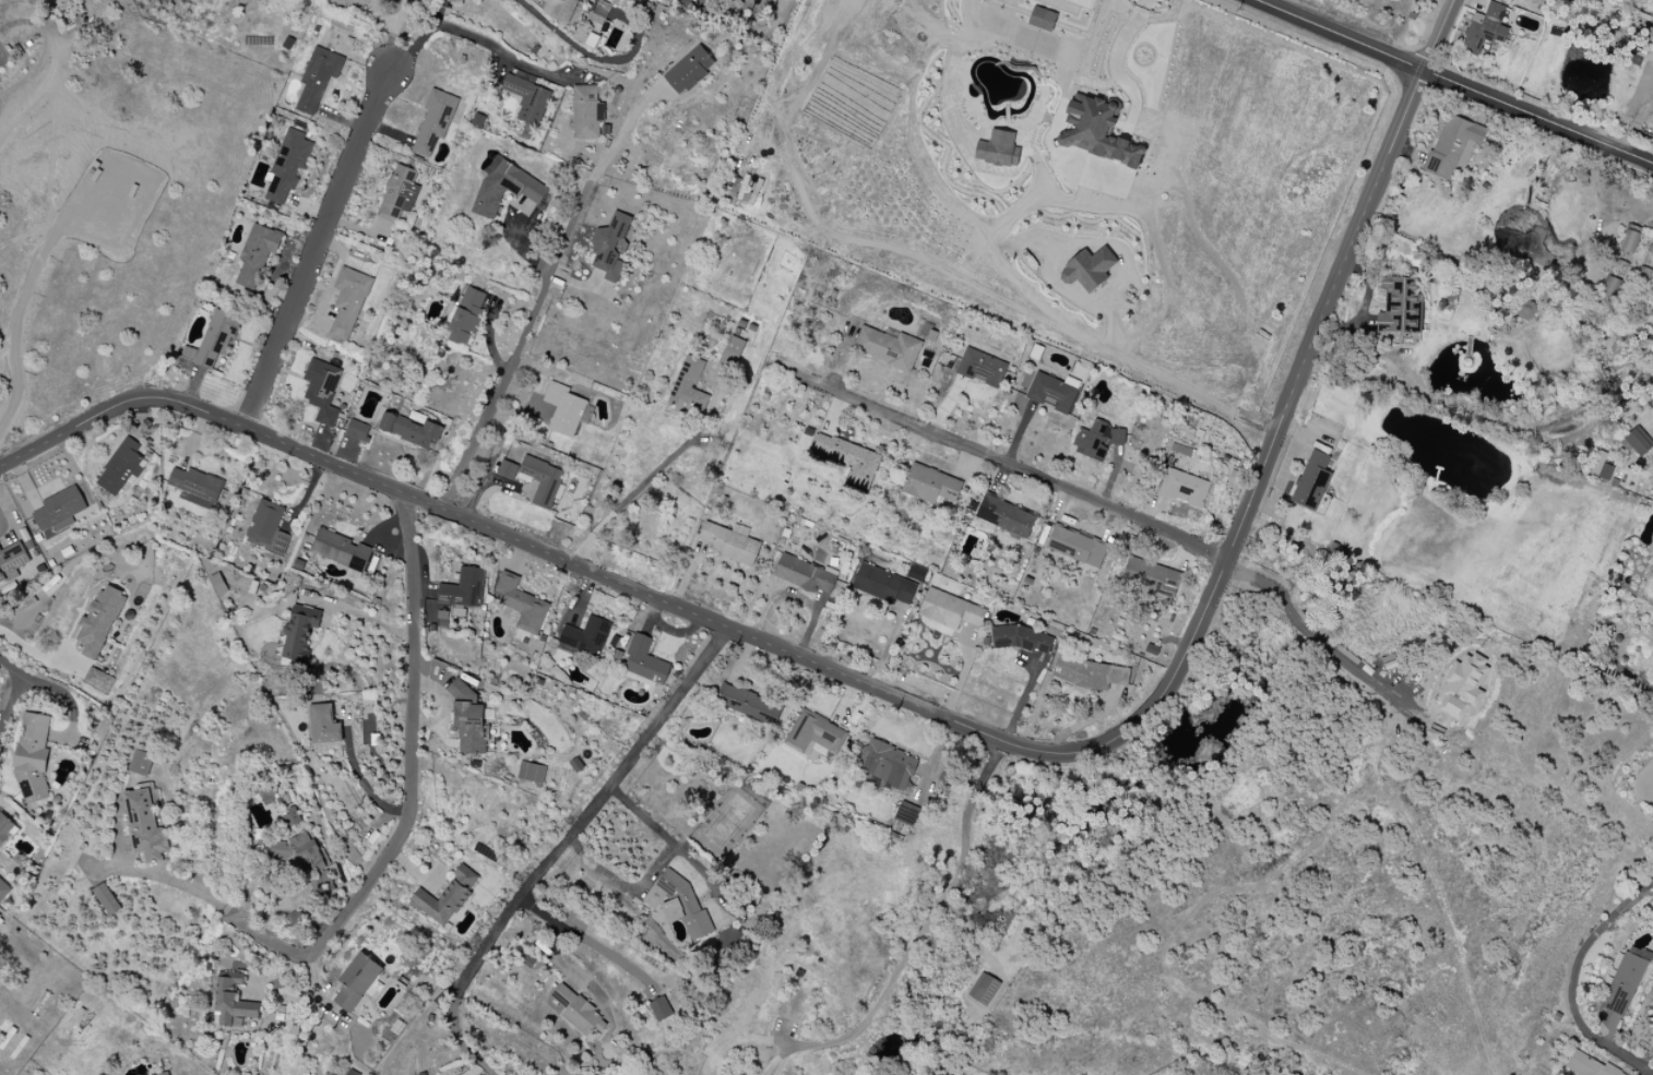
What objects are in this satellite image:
building: (532, 0)
building: (668, 0)
building: (560, 10)
building: (598, 16)
building: (1042, 19)
building: (1485, 31)
road: (746, 32)
building: (585, 37)
road: (421, 38)
road: (499, 52)
building: (689, 70)
road: (1119, 71)
building: (318, 79)
road: (1453, 81)
building: (527, 99)
building: (586, 111)
building: (435, 121)
building: (1099, 130)
road: (618, 138)
building: (1451, 147)
building: (998, 150)
building: (287, 165)
building: (506, 188)
building: (397, 194)
building: (1630, 238)
road: (316, 249)
building: (255, 253)
building: (1093, 270)
building: (348, 301)
road: (19, 304)
building: (1401, 304)
building: (466, 316)
building: (216, 337)
road: (518, 348)
building: (890, 348)
building: (732, 351)
building: (1037, 351)
building: (982, 368)
road: (1297, 379)
road: (1172, 384)
building: (321, 390)
building: (688, 393)
building: (1053, 393)
building: (563, 409)
building: (408, 429)
building: (358, 430)
building: (1098, 440)
building: (1638, 441)
building: (855, 464)
road: (1011, 466)
building: (1601, 466)
building: (120, 467)
building: (507, 469)
building: (540, 480)
building: (1312, 481)
building: (195, 487)
building: (932, 487)
building: (1185, 488)
building: (59, 510)
building: (1008, 516)
building: (264, 522)
building: (732, 545)
building: (1077, 548)
building: (340, 550)
road: (554, 556)
building: (12, 559)
building: (805, 575)
building: (1150, 576)
building: (218, 584)
building: (882, 585)
building: (463, 588)
building: (521, 604)
building: (949, 609)
road: (364, 618)
building: (99, 621)
building: (298, 632)
road: (1307, 634)
building: (586, 636)
building: (1021, 638)
road: (27, 647)
building: (644, 660)
building: (1090, 673)
building: (97, 680)
building: (1462, 685)
building: (746, 704)
building: (468, 720)
building: (323, 726)
building: (812, 732)
road: (412, 744)
building: (32, 757)
building: (141, 763)
building: (887, 764)
building: (531, 773)
road: (358, 774)
road: (1650, 796)
road: (587, 813)
building: (906, 813)
building: (293, 815)
building: (4, 826)
building: (144, 827)
building: (305, 853)
road: (653, 871)
building: (3, 889)
building: (445, 897)
building: (107, 899)
road: (217, 901)
building: (678, 904)
road: (928, 923)
road: (556, 927)
road: (1574, 979)
building: (1626, 980)
building: (356, 981)
building: (984, 989)
building: (233, 1004)
building: (659, 1010)
building: (578, 1013)
road: (740, 1041)
road: (776, 1063)
building: (1587, 1066)
building: (165, 1074)

